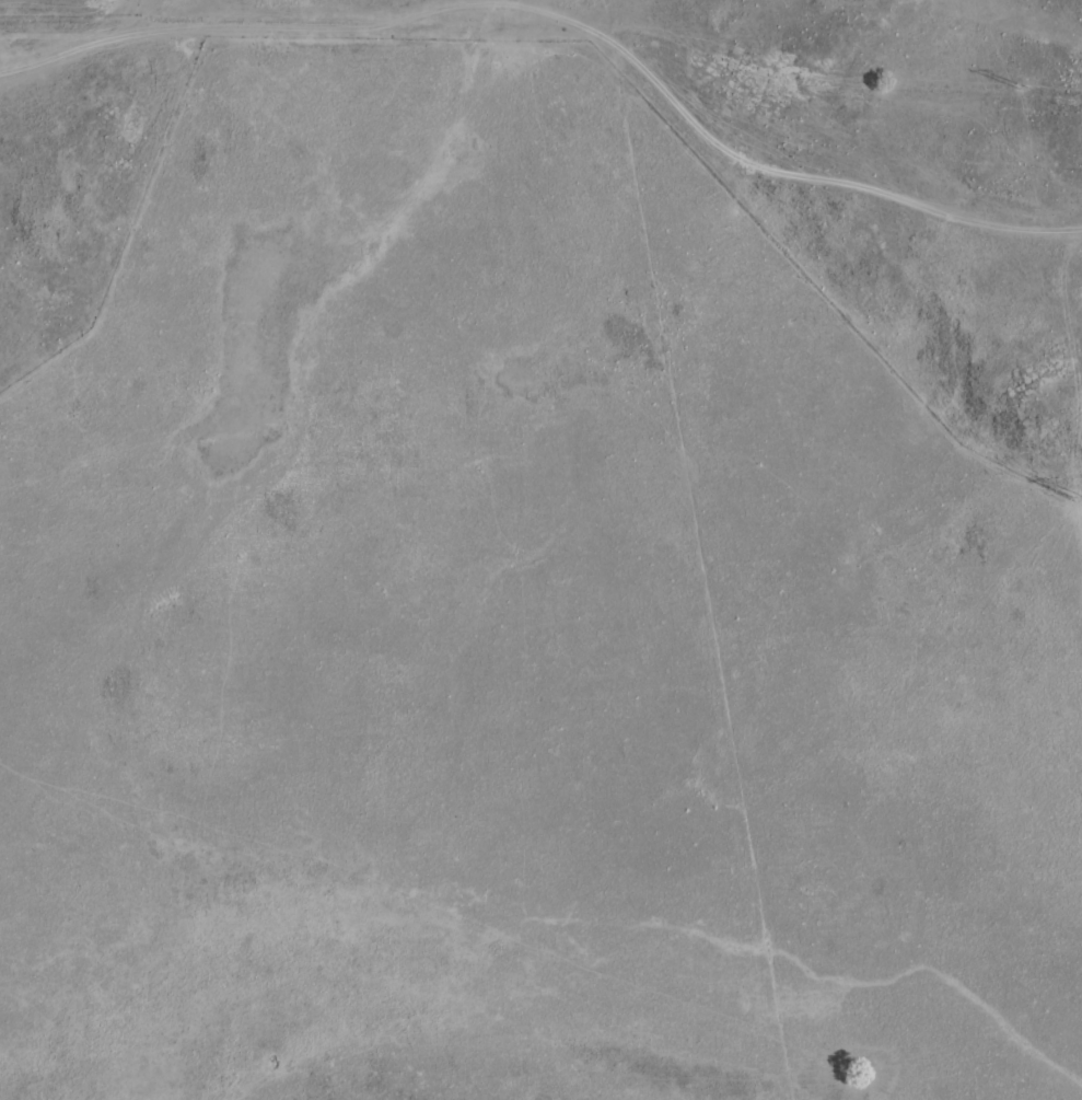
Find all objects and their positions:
road: (563, 21)
power tower: (1025, 89)
power tower: (1079, 495)

